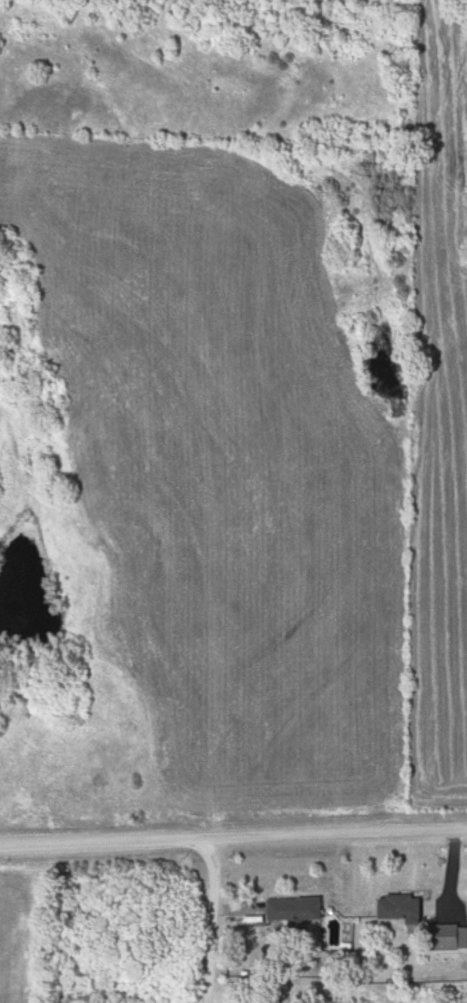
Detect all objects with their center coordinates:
road: (233, 837)
building: (299, 910)
building: (421, 917)
road: (211, 920)

